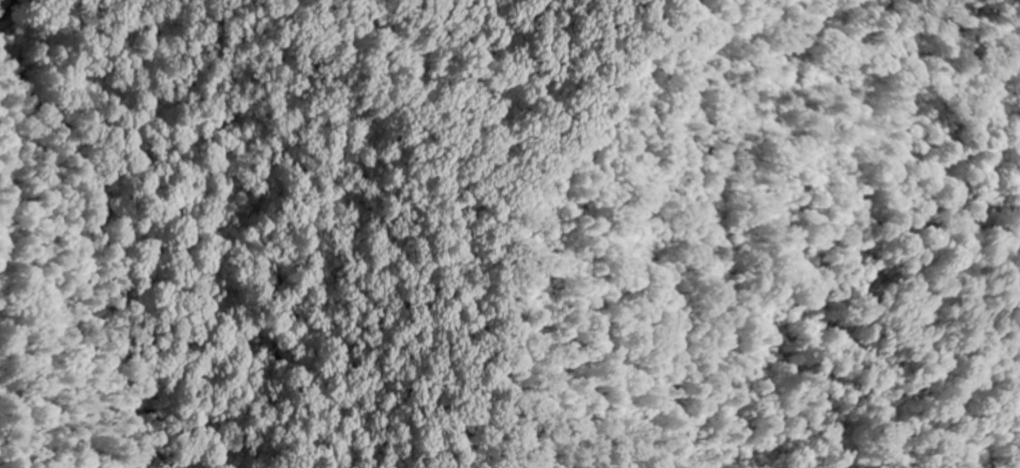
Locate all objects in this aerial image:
road: (8, 9)

